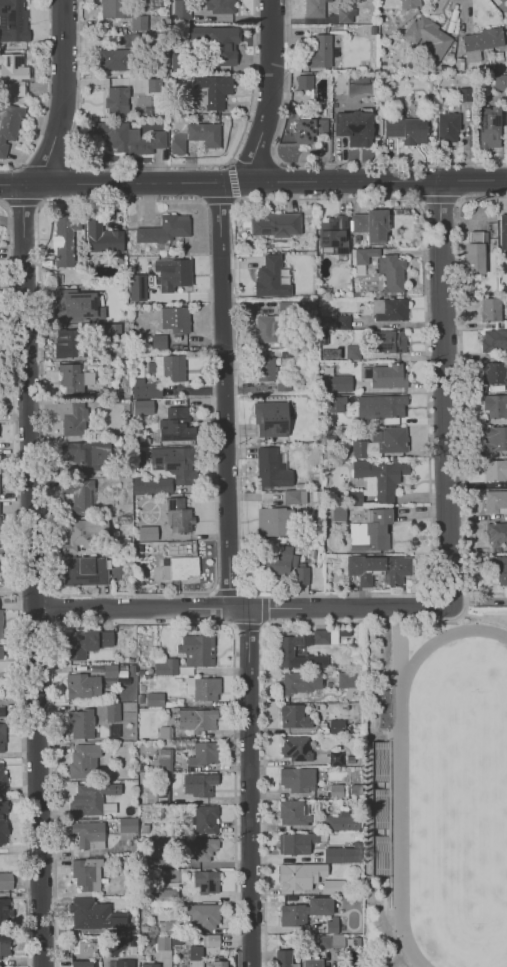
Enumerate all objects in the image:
building: (501, 1)
building: (407, 3)
building: (219, 5)
building: (111, 8)
building: (180, 9)
building: (314, 11)
building: (13, 20)
building: (138, 22)
building: (428, 36)
building: (218, 42)
building: (480, 42)
building: (320, 52)
building: (111, 59)
building: (12, 74)
building: (303, 82)
building: (499, 82)
building: (210, 90)
building: (116, 99)
building: (8, 124)
building: (354, 127)
building: (447, 127)
building: (487, 127)
building: (308, 129)
building: (406, 129)
building: (196, 136)
building: (129, 137)
road: (253, 181)
building: (276, 223)
building: (372, 224)
building: (166, 230)
building: (505, 231)
building: (103, 236)
building: (335, 236)
building: (65, 238)
building: (476, 253)
building: (365, 254)
building: (392, 272)
building: (172, 276)
building: (269, 277)
building: (136, 286)
building: (66, 306)
building: (287, 307)
building: (492, 308)
building: (393, 309)
building: (176, 320)
building: (343, 322)
building: (271, 328)
building: (109, 330)
building: (494, 340)
building: (160, 342)
building: (388, 343)
building: (65, 346)
building: (353, 352)
building: (174, 368)
building: (265, 369)
building: (495, 372)
building: (388, 376)
building: (75, 379)
road: (460, 381)
building: (284, 382)
building: (336, 383)
building: (145, 389)
road: (443, 393)
building: (335, 403)
building: (496, 405)
building: (381, 406)
building: (142, 408)
building: (178, 410)
building: (270, 419)
building: (78, 420)
building: (177, 432)
building: (494, 436)
building: (393, 438)
building: (361, 449)
building: (86, 460)
building: (177, 463)
building: (495, 467)
building: (273, 469)
road: (226, 475)
road: (30, 476)
building: (381, 480)
building: (158, 486)
building: (78, 495)
building: (294, 496)
building: (355, 499)
building: (495, 501)
building: (338, 512)
building: (180, 517)
building: (274, 522)
building: (356, 532)
building: (377, 532)
building: (496, 533)
building: (81, 535)
building: (148, 535)
building: (0, 546)
building: (282, 560)
building: (180, 568)
building: (380, 569)
building: (501, 570)
building: (86, 571)
building: (302, 574)
road: (16, 583)
road: (240, 608)
road: (484, 617)
road: (502, 618)
building: (0, 622)
road: (223, 622)
road: (262, 625)
road: (264, 626)
building: (329, 634)
building: (84, 644)
building: (197, 649)
building: (0, 651)
building: (287, 652)
building: (167, 668)
building: (110, 671)
building: (351, 680)
building: (299, 683)
building: (83, 687)
building: (208, 689)
road: (263, 697)
building: (155, 699)
building: (1, 711)
building: (113, 712)
building: (294, 717)
building: (198, 719)
building: (80, 723)
building: (337, 725)
building: (165, 733)
building: (2, 739)
building: (299, 749)
building: (204, 753)
building: (83, 758)
building: (336, 759)
building: (165, 760)
road: (51, 766)
building: (2, 774)
building: (298, 780)
building: (201, 785)
building: (336, 791)
park: (436, 791)
road: (234, 796)
building: (89, 799)
building: (106, 804)
park: (462, 808)
building: (379, 809)
track: (401, 809)
building: (294, 812)
building: (207, 819)
building: (342, 822)
building: (5, 823)
building: (127, 825)
building: (89, 833)
building: (296, 844)
building: (203, 848)
building: (340, 854)
building: (163, 862)
building: (86, 872)
building: (301, 876)
building: (6, 882)
building: (207, 882)
building: (334, 885)
building: (164, 895)
building: (321, 905)
building: (6, 912)
building: (84, 912)
building: (204, 915)
building: (293, 915)
building: (117, 919)
building: (332, 925)
building: (165, 927)
building: (138, 929)
building: (149, 940)
building: (337, 940)
building: (213, 941)
building: (322, 941)
building: (133, 942)
building: (358, 942)
building: (164, 944)
building: (5, 947)
building: (195, 952)
building: (283, 958)
building: (314, 961)
building: (123, 963)
building: (215, 964)
building: (80, 965)
building: (152, 965)

